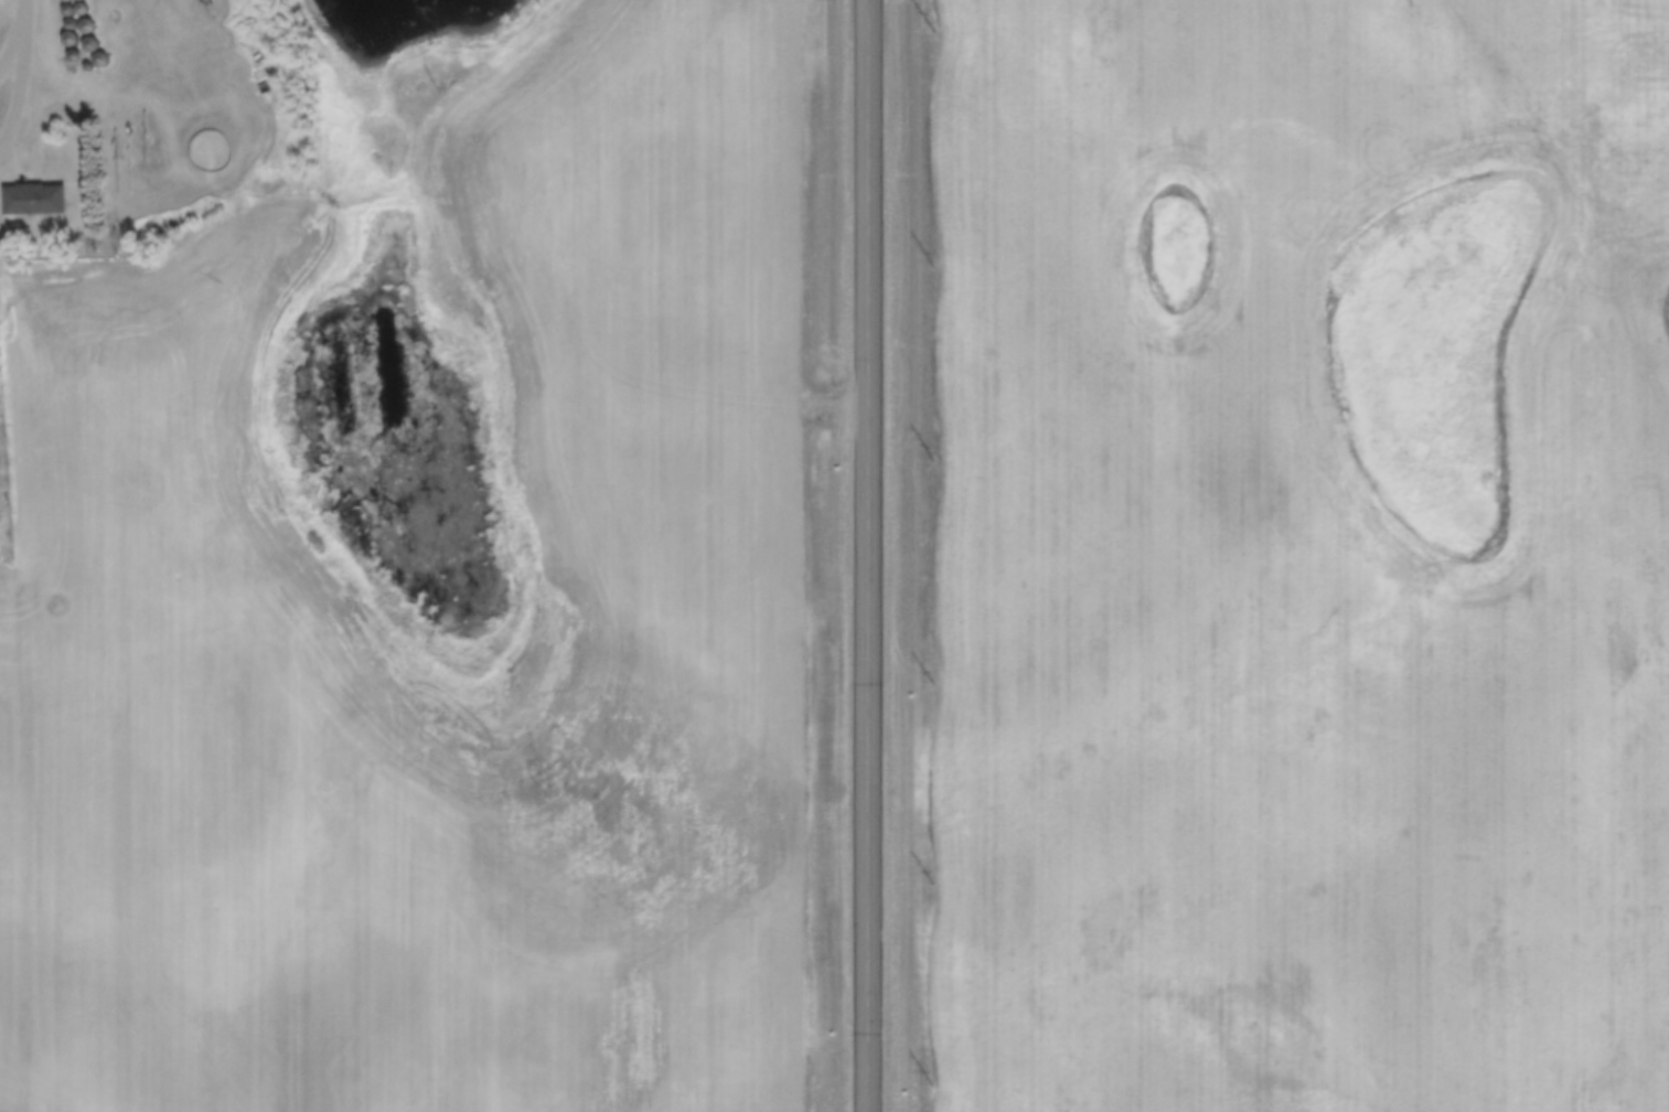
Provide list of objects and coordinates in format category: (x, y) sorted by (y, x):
road: (148, 18)
road: (18, 63)
building: (30, 199)
road: (866, 556)
road: (30, 827)

